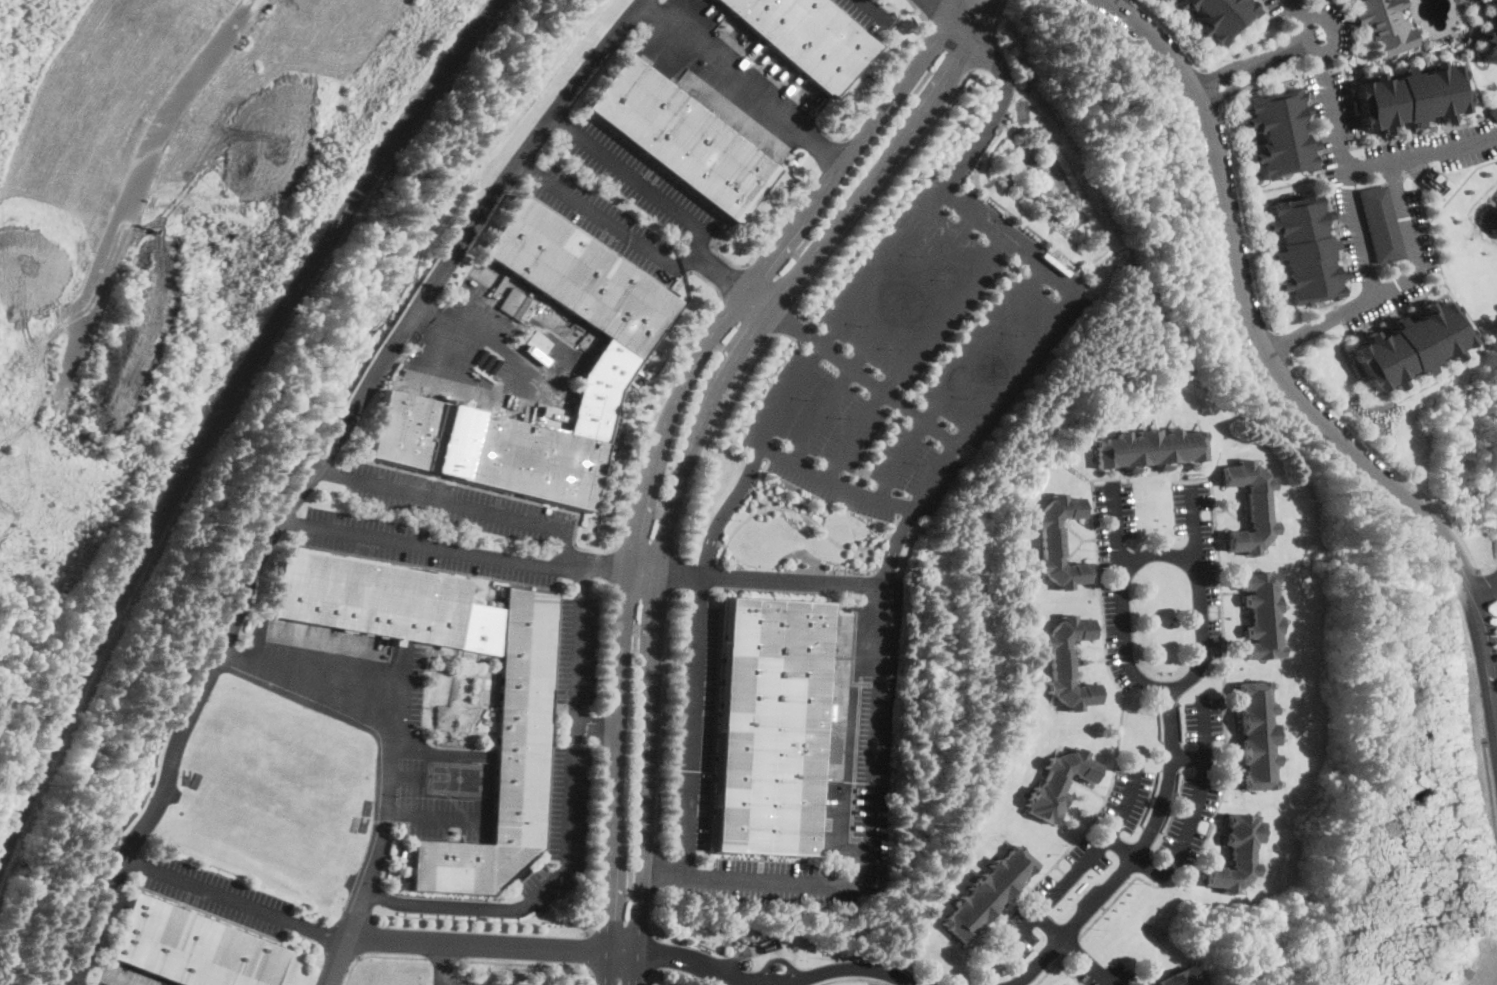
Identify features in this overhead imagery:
road: (1111, 1)
building: (1494, 2)
parking lot: (1280, 6)
road: (951, 8)
road: (965, 8)
road: (873, 9)
parking lot: (867, 13)
road: (996, 14)
building: (1218, 15)
road: (1274, 17)
road: (1329, 25)
building: (1385, 25)
parking lot: (1333, 26)
road: (1172, 31)
road: (1241, 37)
building: (806, 38)
building: (1491, 44)
road: (980, 48)
road: (1254, 68)
road: (744, 79)
road: (887, 83)
road: (1210, 86)
road: (937, 88)
building: (1414, 96)
road: (894, 97)
road: (995, 104)
building: (1495, 112)
building: (1280, 132)
building: (680, 140)
road: (1344, 143)
parking lot: (1440, 148)
road: (832, 155)
road: (1424, 156)
parking lot: (1345, 166)
road: (1290, 182)
road: (882, 183)
road: (139, 191)
parking lot: (585, 207)
road: (1245, 217)
road: (783, 218)
building: (1384, 222)
road: (828, 231)
road: (785, 236)
parking lot: (1416, 236)
building: (1304, 249)
road: (691, 251)
road: (716, 271)
road: (1346, 273)
road: (734, 282)
road: (1392, 289)
building: (669, 293)
road: (753, 301)
road: (1402, 301)
road: (1338, 310)
road: (435, 315)
road: (780, 315)
road: (793, 325)
road: (1345, 325)
road: (876, 333)
parking lot: (501, 341)
road: (1281, 344)
building: (1407, 344)
road: (505, 350)
road: (700, 351)
road: (909, 353)
parking lot: (915, 355)
building: (618, 357)
road: (730, 363)
road: (1452, 365)
road: (1275, 367)
road: (955, 380)
road: (520, 385)
road: (888, 392)
railway: (218, 410)
road: (655, 416)
road: (707, 435)
building: (1149, 448)
road: (1388, 462)
road: (313, 468)
road: (761, 482)
road: (642, 490)
road: (502, 493)
road: (675, 494)
road: (890, 501)
building: (1251, 507)
road: (791, 508)
road: (902, 514)
parking lot: (510, 521)
road: (1193, 524)
road: (1118, 528)
road: (882, 538)
building: (1058, 542)
road: (1155, 550)
road: (560, 560)
road: (594, 561)
parking lot: (1198, 561)
road: (613, 565)
road: (643, 570)
road: (672, 570)
road: (680, 574)
parking lot: (1115, 574)
road: (713, 575)
road: (762, 580)
road: (557, 583)
road: (1485, 588)
road: (1487, 588)
road: (680, 600)
road: (700, 602)
road: (558, 613)
building: (1262, 616)
road: (1495, 620)
road: (609, 645)
road: (653, 645)
parking lot: (576, 660)
building: (1068, 663)
road: (620, 683)
parking lot: (413, 684)
road: (1123, 703)
parking lot: (878, 704)
road: (715, 712)
road: (662, 717)
road: (595, 721)
road: (604, 726)
parking lot: (693, 726)
building: (771, 727)
building: (1257, 735)
road: (1488, 740)
road: (572, 741)
road: (558, 742)
road: (572, 744)
road: (592, 744)
road: (847, 744)
building: (521, 748)
road: (1187, 756)
road: (384, 783)
building: (1058, 784)
road: (1487, 789)
parking lot: (437, 809)
road: (1190, 821)
parking lot: (562, 829)
road: (643, 837)
road: (598, 845)
building: (1237, 854)
road: (1132, 861)
road: (1081, 863)
road: (655, 867)
building: (1256, 869)
road: (662, 873)
road: (610, 876)
road: (776, 880)
parking lot: (215, 893)
building: (987, 894)
road: (237, 900)
road: (357, 912)
road: (652, 912)
road: (1048, 922)
road: (478, 943)
building: (192, 948)
road: (586, 952)
road: (622, 953)
road: (655, 953)
road: (376, 955)
road: (340, 959)
road: (443, 959)
road: (1086, 960)
road: (441, 962)
road: (532, 963)
road: (606, 967)
road: (637, 967)
road: (676, 969)
road: (538, 973)
parking lot: (125, 976)
road: (852, 976)
building: (1180, 978)
road: (636, 982)
road: (773, 982)
road: (605, 983)
road: (449, 984)

